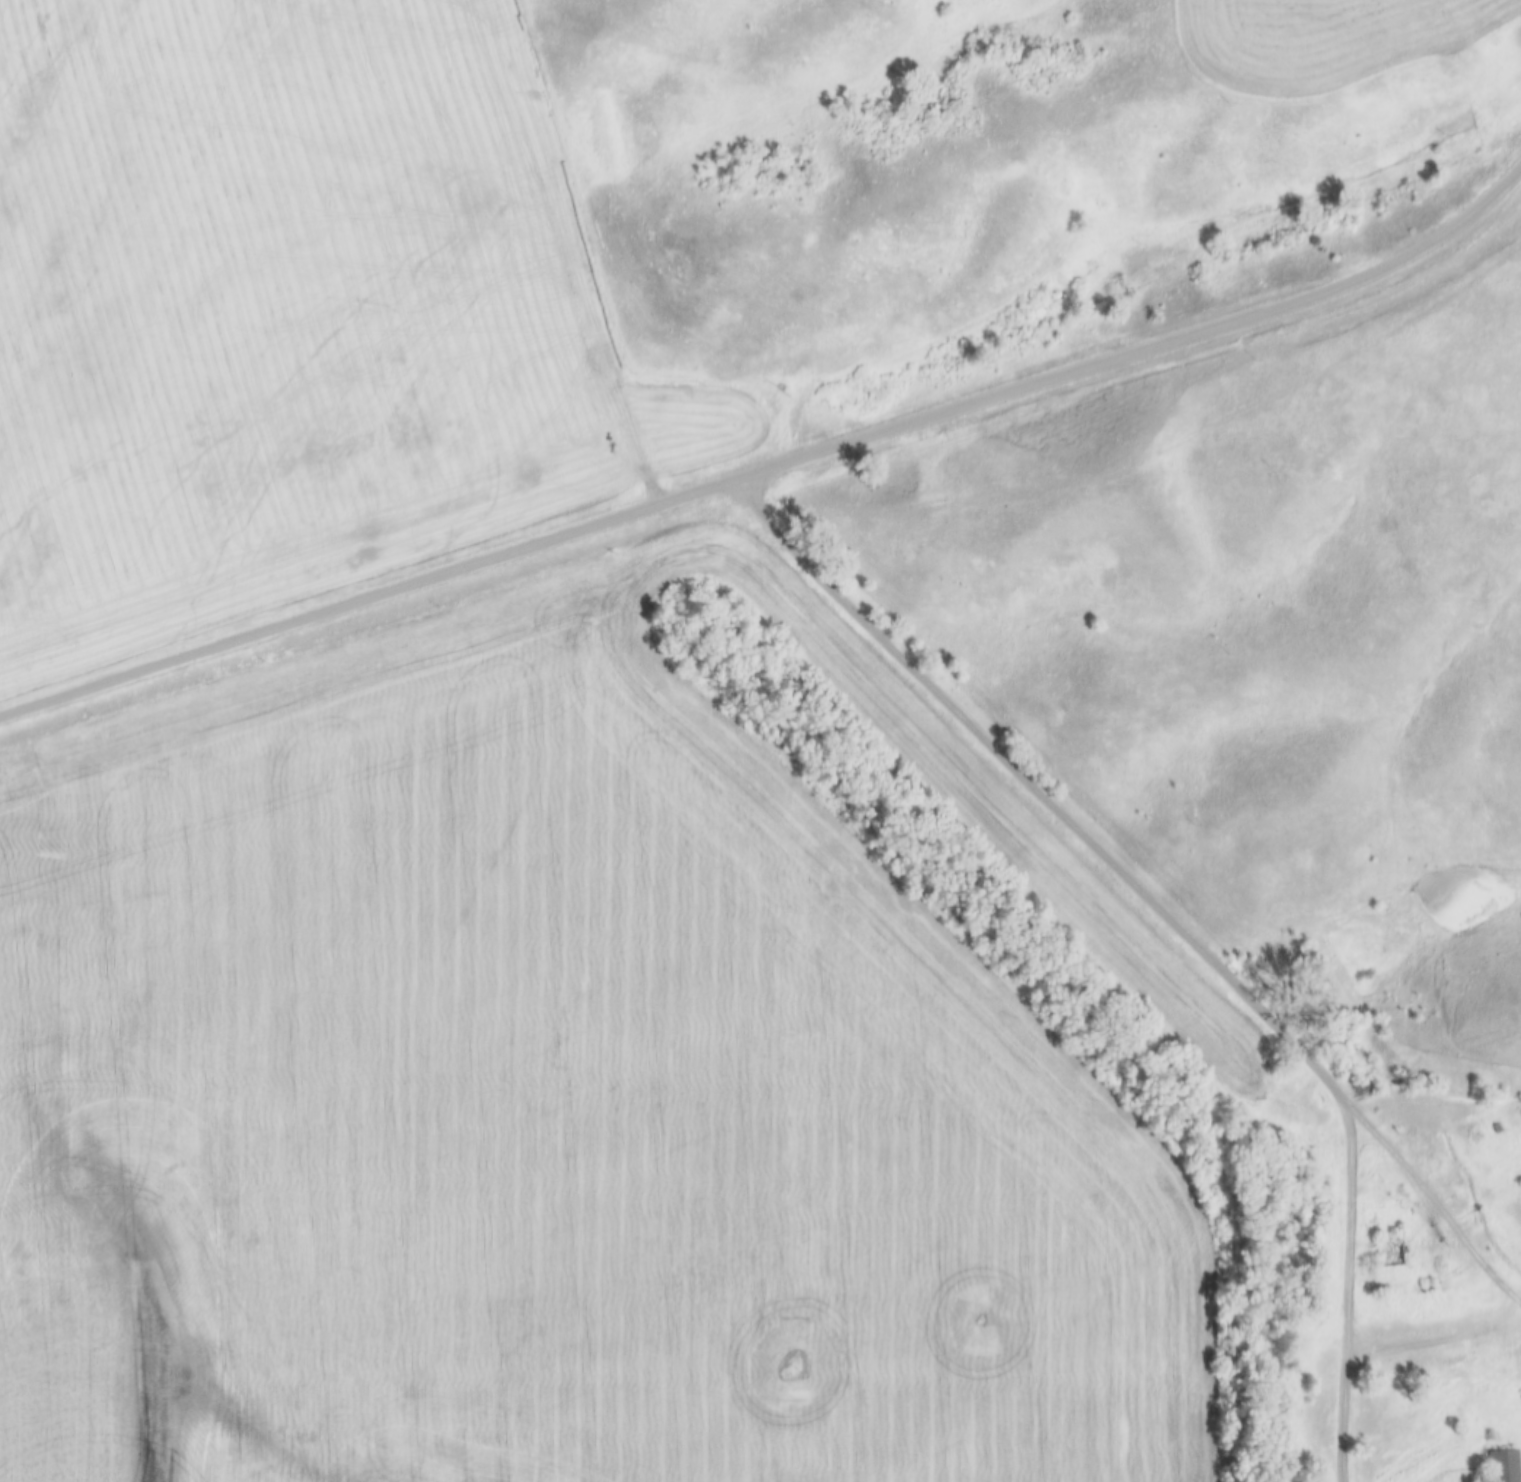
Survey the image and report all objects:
road: (775, 467)
road: (1135, 887)
building: (1501, 1127)
building: (1434, 1148)
building: (1386, 1249)
road: (1346, 1289)
building: (1480, 1363)
silo: (1480, 1363)
building: (1455, 1364)
building: (1499, 1465)

